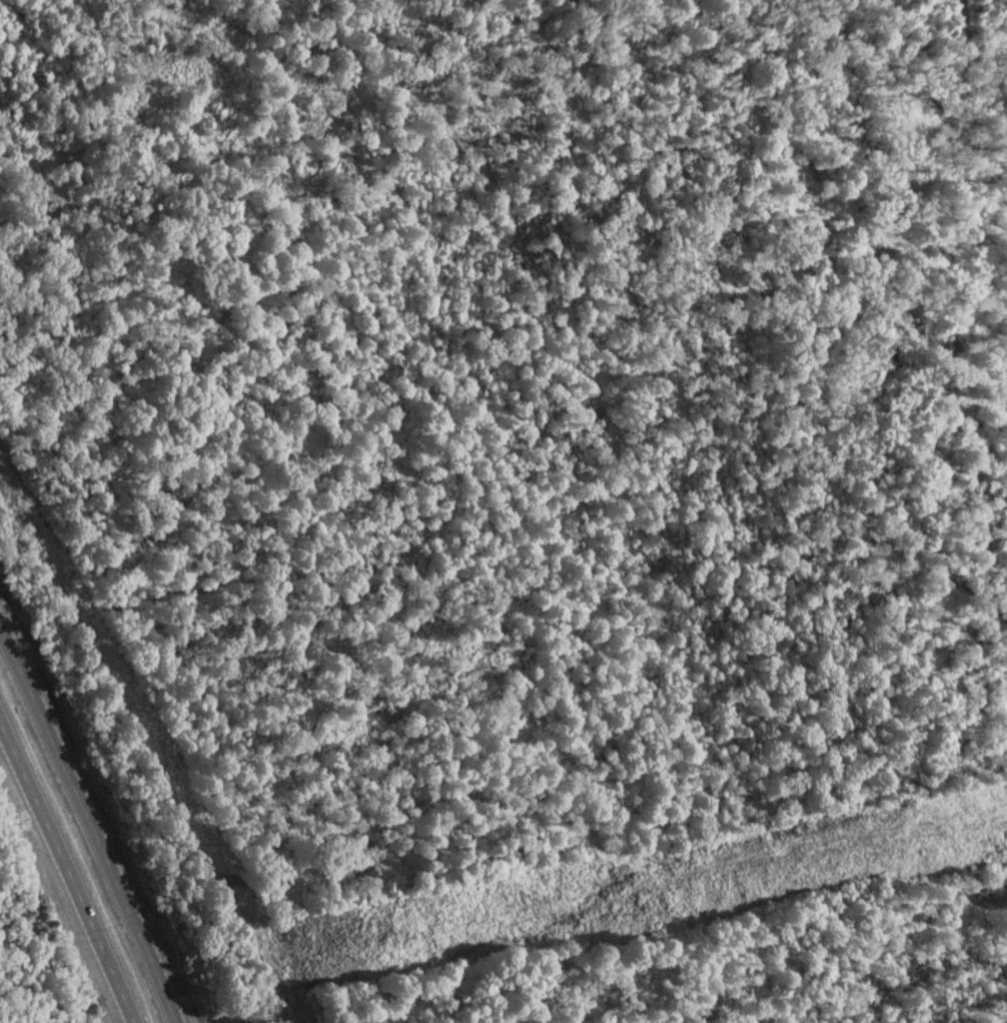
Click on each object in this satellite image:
road: (156, 741)
road: (94, 821)
road: (67, 876)

